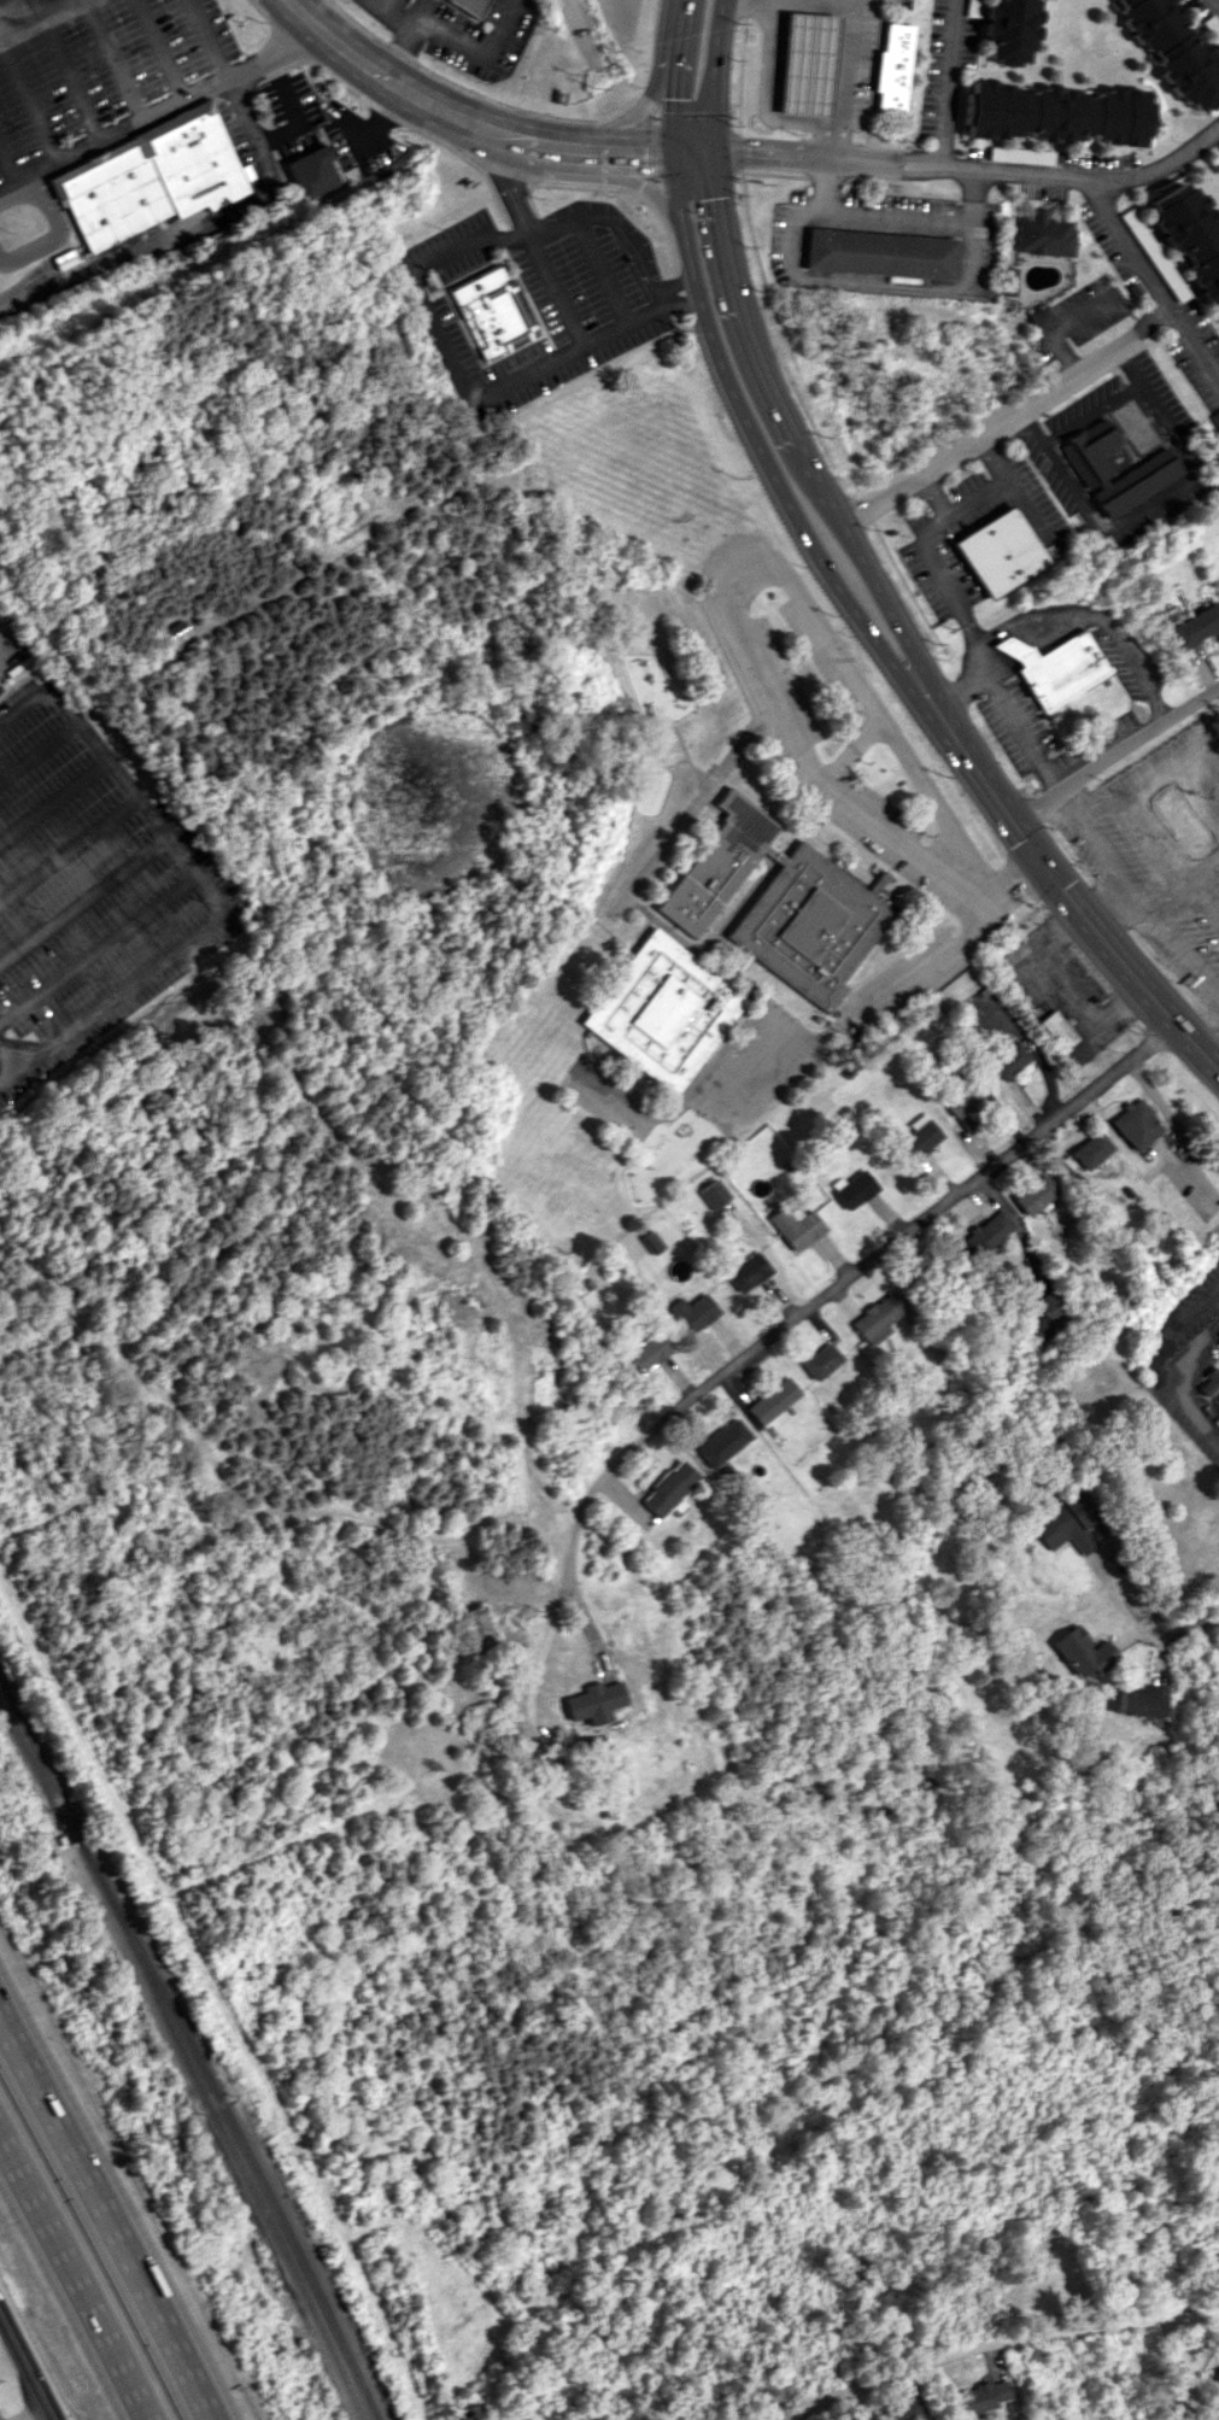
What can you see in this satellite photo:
road: (769, 0)
road: (1218, 0)
building: (969, 1)
building: (470, 6)
road: (51, 7)
road: (579, 14)
building: (1007, 29)
road: (452, 37)
road: (203, 45)
building: (1174, 49)
road: (158, 53)
road: (395, 53)
road: (111, 63)
building: (802, 63)
building: (886, 70)
road: (66, 71)
road: (836, 74)
road: (711, 75)
road: (672, 76)
road: (388, 82)
road: (950, 84)
traffic signals: (670, 99)
road: (30, 106)
road: (634, 113)
building: (1055, 113)
road: (157, 119)
road: (298, 125)
road: (609, 151)
traffic signals: (644, 152)
traffic signals: (746, 152)
building: (197, 162)
road: (11, 171)
building: (313, 171)
road: (973, 171)
road: (634, 177)
road: (506, 189)
traffic signals: (717, 198)
road: (892, 215)
road: (189, 233)
building: (1045, 234)
road: (55, 238)
building: (1192, 239)
building: (880, 253)
building: (1154, 253)
road: (1154, 279)
building: (1012, 280)
road: (866, 282)
building: (1133, 288)
road: (420, 306)
building: (493, 314)
building: (1042, 316)
road: (1089, 410)
road: (1008, 417)
building: (1214, 418)
road: (789, 421)
road: (750, 433)
building: (1088, 451)
building: (1132, 482)
road: (1010, 486)
road: (931, 496)
road: (1149, 505)
building: (1000, 552)
road: (802, 593)
road: (960, 619)
building: (1194, 626)
building: (177, 631)
road: (1109, 633)
road: (1006, 646)
road: (992, 658)
building: (1054, 667)
road: (959, 684)
road: (41, 755)
road: (1115, 758)
road: (1150, 779)
road: (54, 802)
building: (1179, 821)
road: (1150, 845)
road: (69, 850)
traffic signals: (1042, 861)
road: (194, 874)
road: (1055, 880)
road: (1186, 889)
road: (83, 901)
road: (1131, 901)
road: (1106, 906)
road: (1203, 908)
building: (802, 944)
road: (98, 947)
road: (931, 954)
road: (1035, 968)
road: (1073, 983)
building: (1055, 1030)
road: (7, 1053)
road: (1213, 1053)
building: (1007, 1060)
road: (7, 1068)
building: (959, 1098)
road: (1165, 1111)
building: (962, 1123)
building: (1135, 1124)
building: (916, 1136)
road: (1123, 1147)
building: (1089, 1149)
road: (1196, 1184)
building: (850, 1188)
building: (714, 1194)
building: (1033, 1194)
road: (920, 1217)
building: (795, 1225)
building: (985, 1232)
building: (651, 1242)
building: (745, 1271)
building: (691, 1312)
building: (1050, 1313)
building: (875, 1318)
road: (1165, 1335)
building: (646, 1352)
road: (1188, 1353)
building: (820, 1360)
building: (1208, 1383)
building: (772, 1402)
road: (1200, 1418)
building: (722, 1442)
road: (591, 1487)
building: (668, 1488)
building: (1066, 1523)
road: (1144, 1623)
building: (476, 1628)
building: (1080, 1652)
building: (592, 1700)
building: (1141, 1701)
railway: (186, 2053)
road: (106, 2217)
road: (72, 2280)
building: (1056, 2284)
road: (1107, 2326)
road: (22, 2373)
road: (891, 2378)
building: (1217, 2378)
building: (981, 2396)
building: (904, 2409)
road: (31, 2415)

